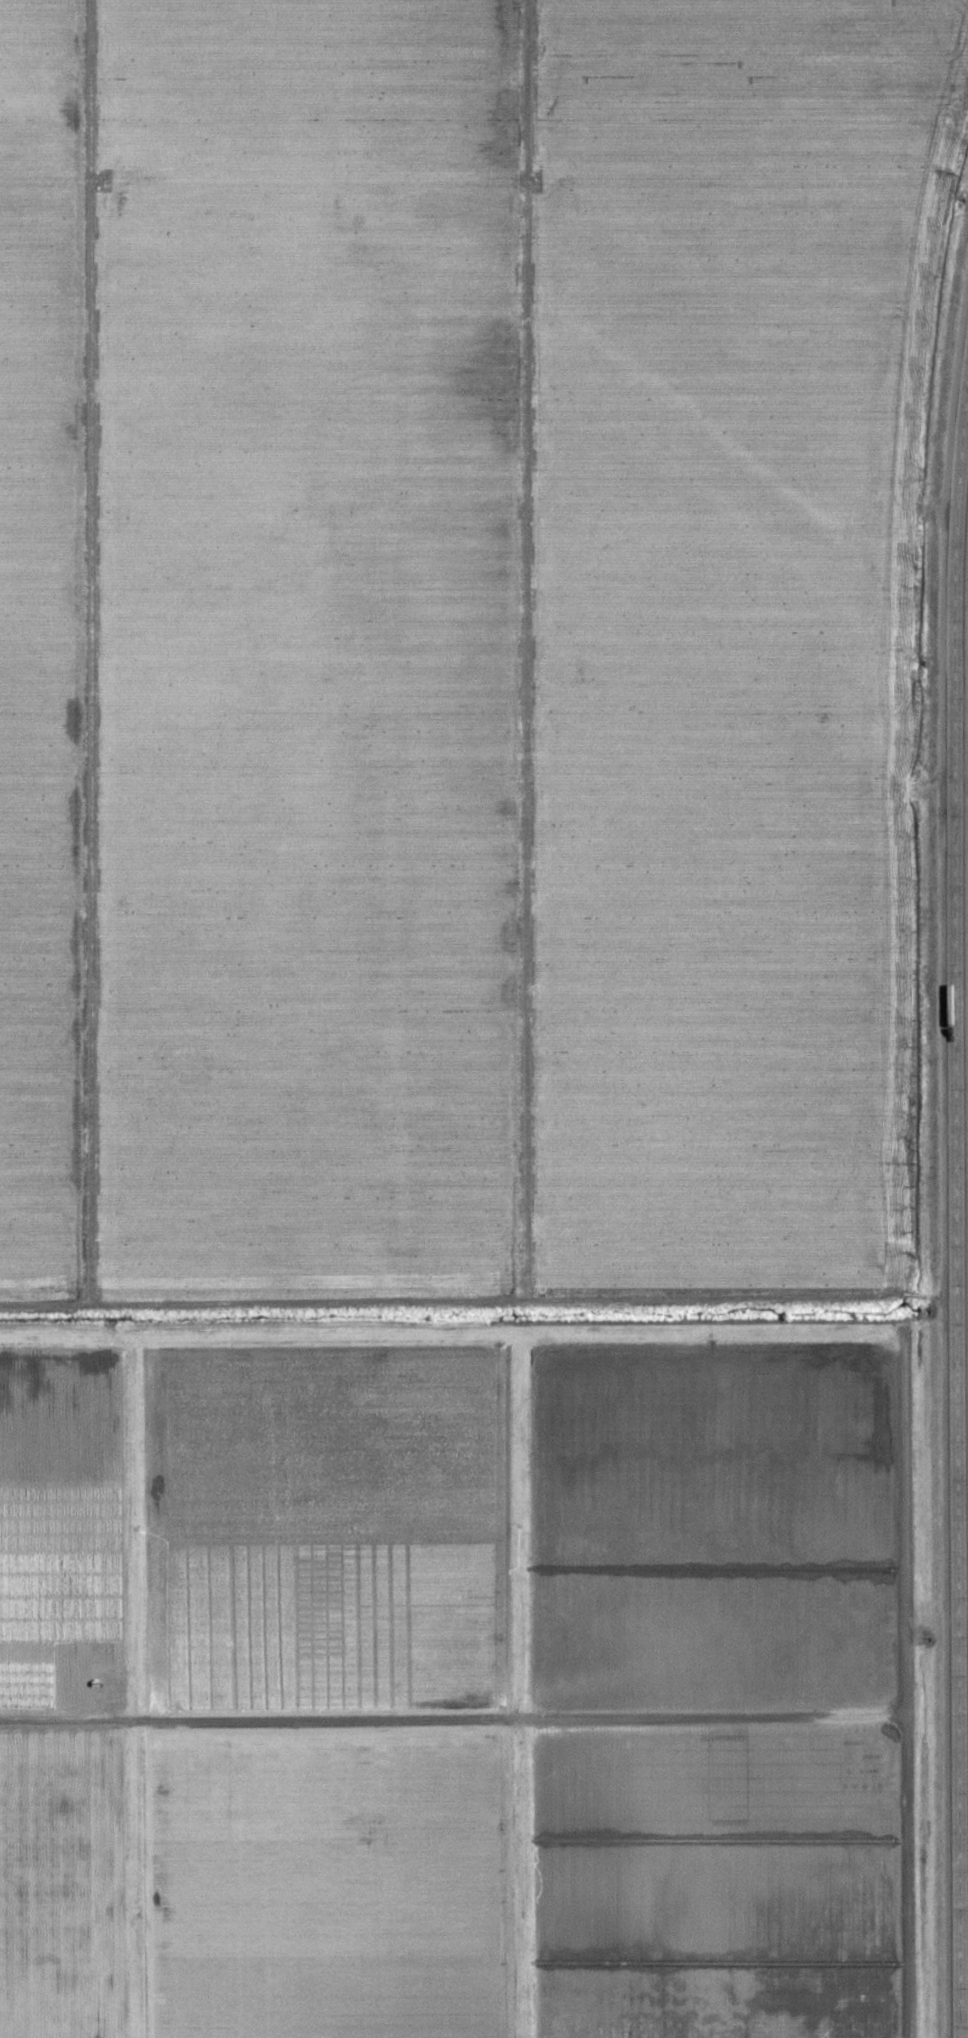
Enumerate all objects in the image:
road: (955, 1208)

